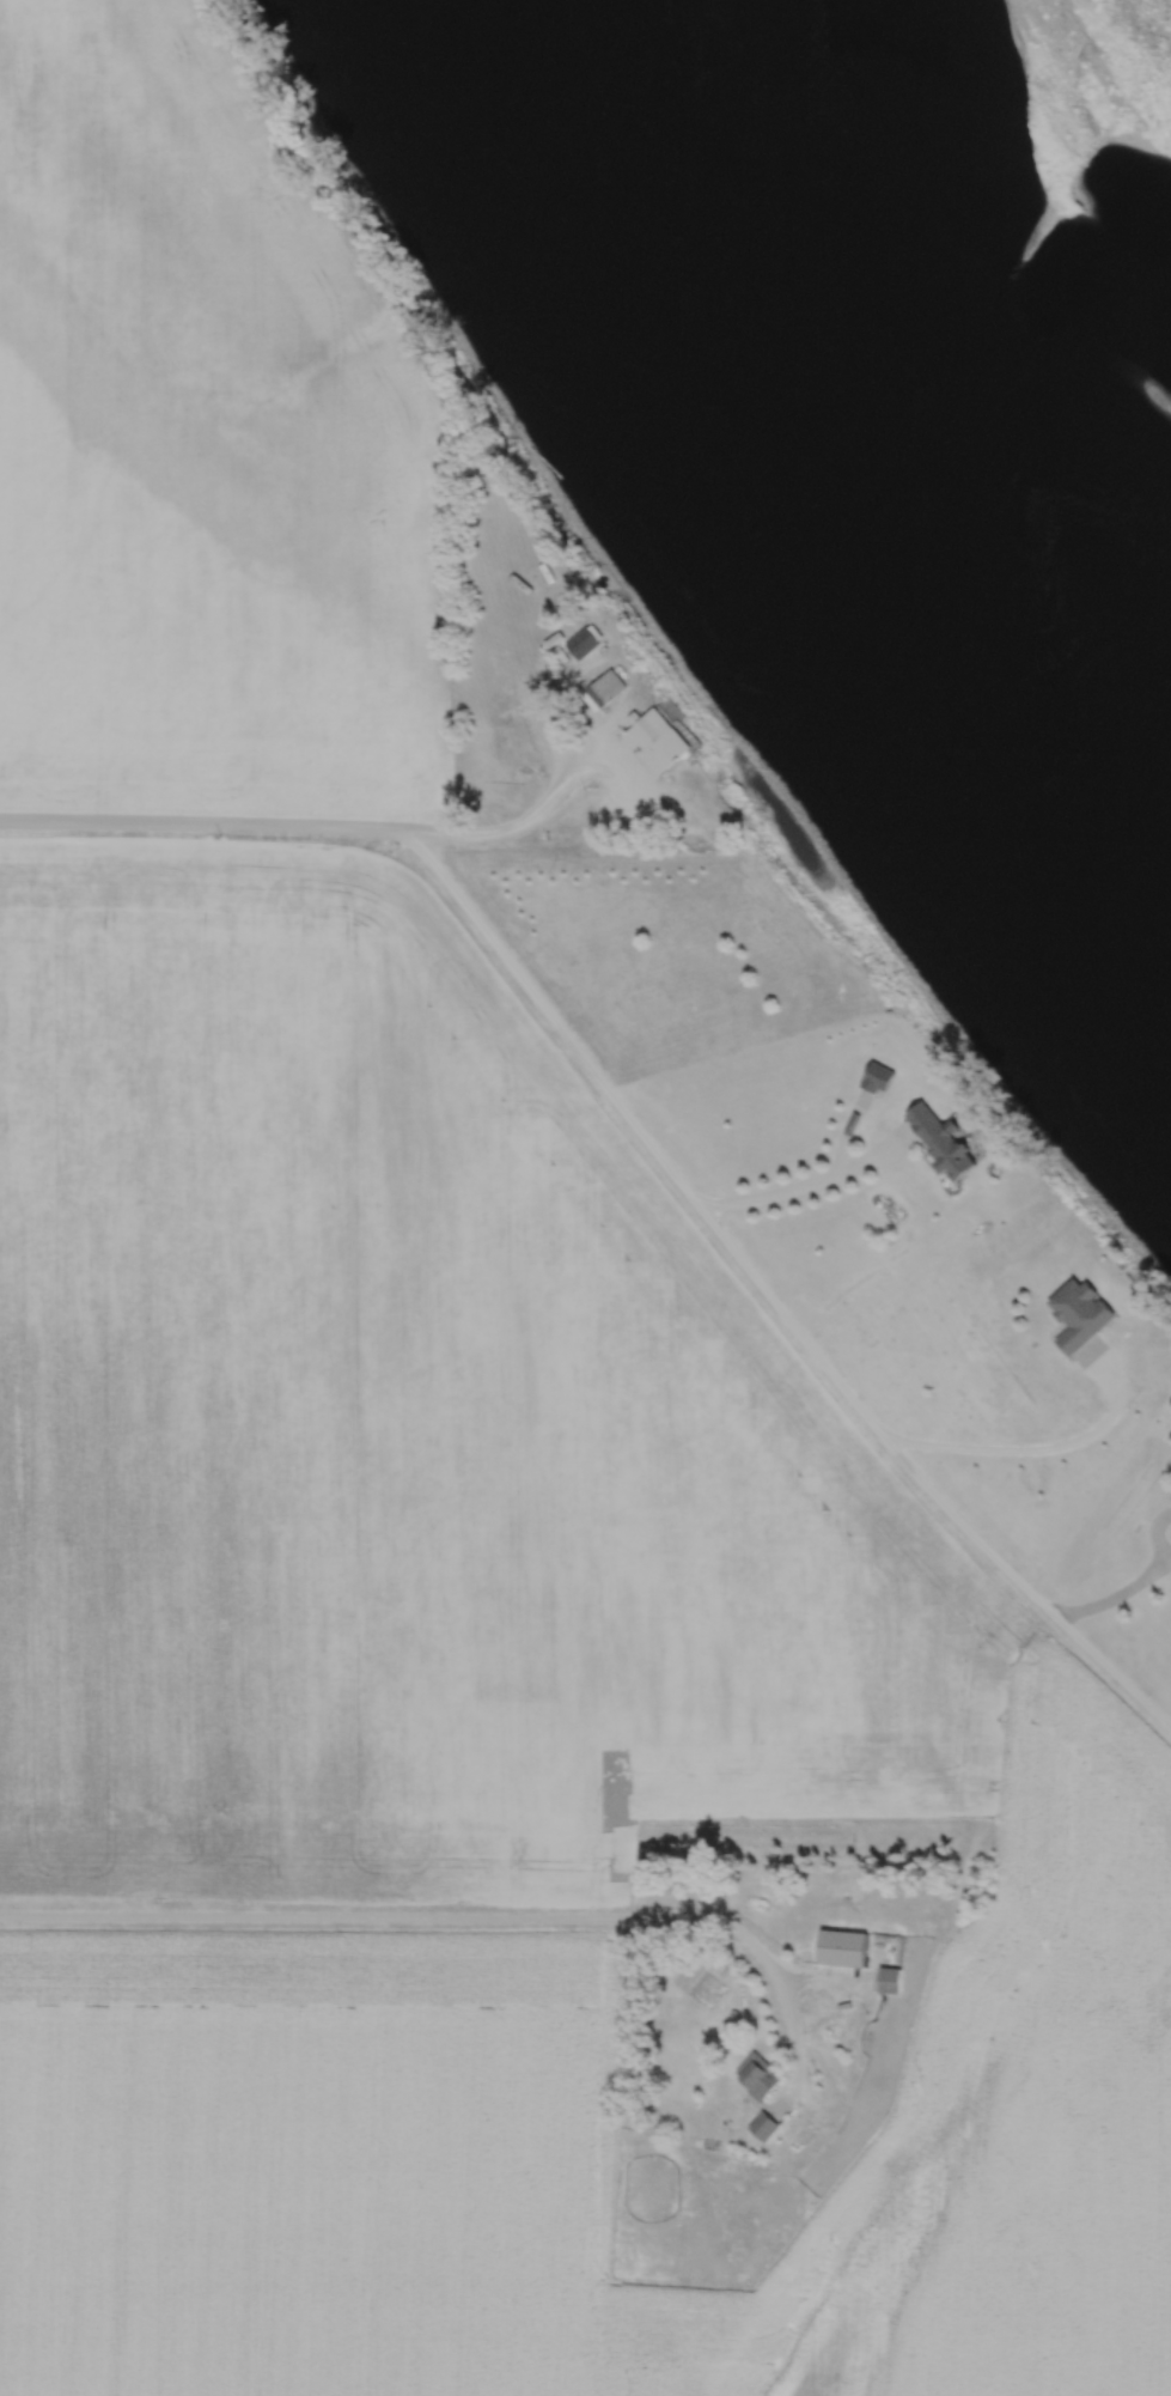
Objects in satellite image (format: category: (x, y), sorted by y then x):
river: (855, 395)
building: (580, 638)
building: (602, 685)
building: (651, 737)
road: (301, 834)
building: (876, 1075)
building: (933, 1136)
road: (805, 1188)
road: (769, 1303)
building: (1075, 1312)
road: (1035, 1451)
road: (1115, 1595)
road: (465, 1926)
building: (838, 1946)
building: (885, 1978)
building: (752, 2075)
building: (760, 2124)

